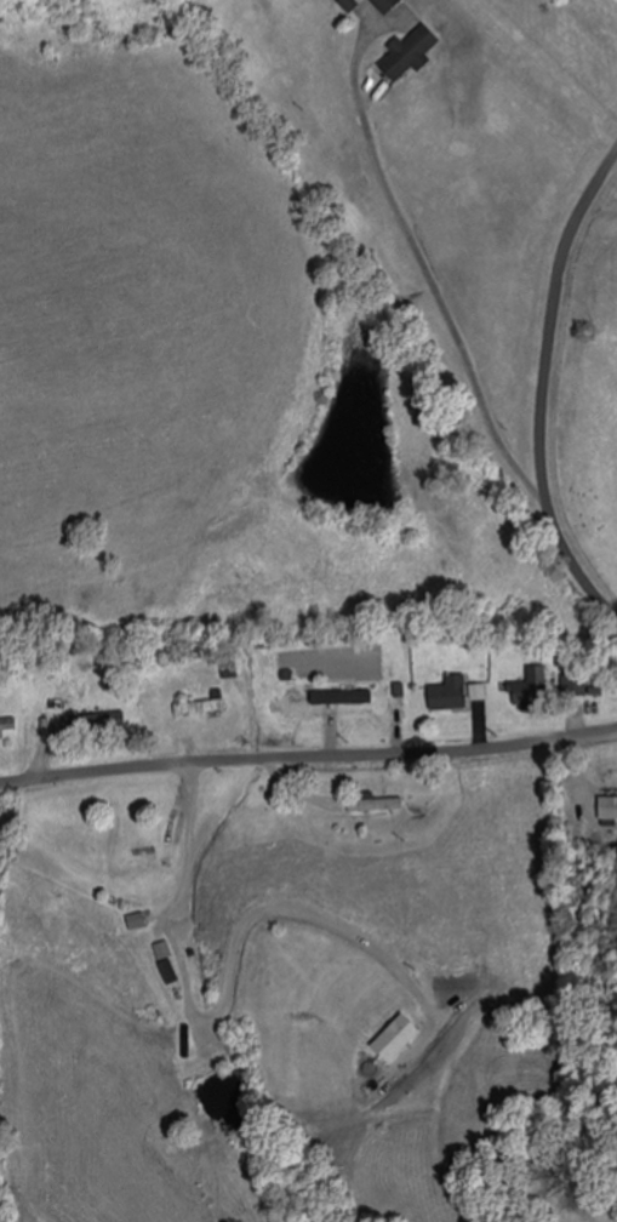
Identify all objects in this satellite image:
building: (387, 5)
building: (410, 55)
road: (543, 388)
building: (575, 689)
building: (532, 692)
building: (478, 695)
building: (450, 696)
building: (199, 708)
building: (364, 708)
building: (297, 709)
building: (93, 723)
building: (7, 726)
road: (308, 777)
building: (376, 806)
building: (607, 811)
building: (150, 860)
building: (136, 924)
building: (168, 975)
building: (395, 1041)

